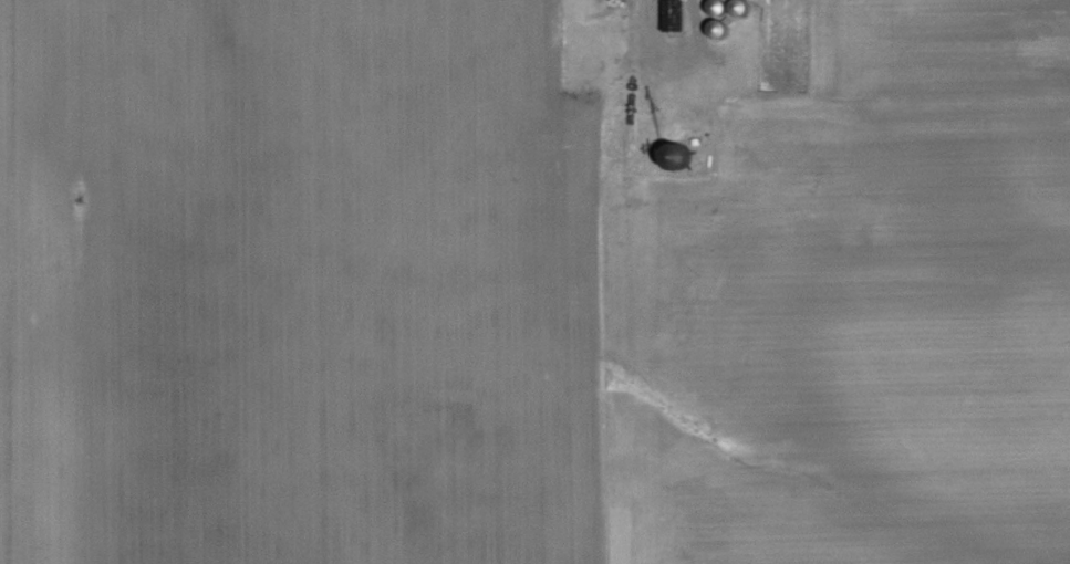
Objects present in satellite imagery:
building: (675, 14)
road: (673, 59)

